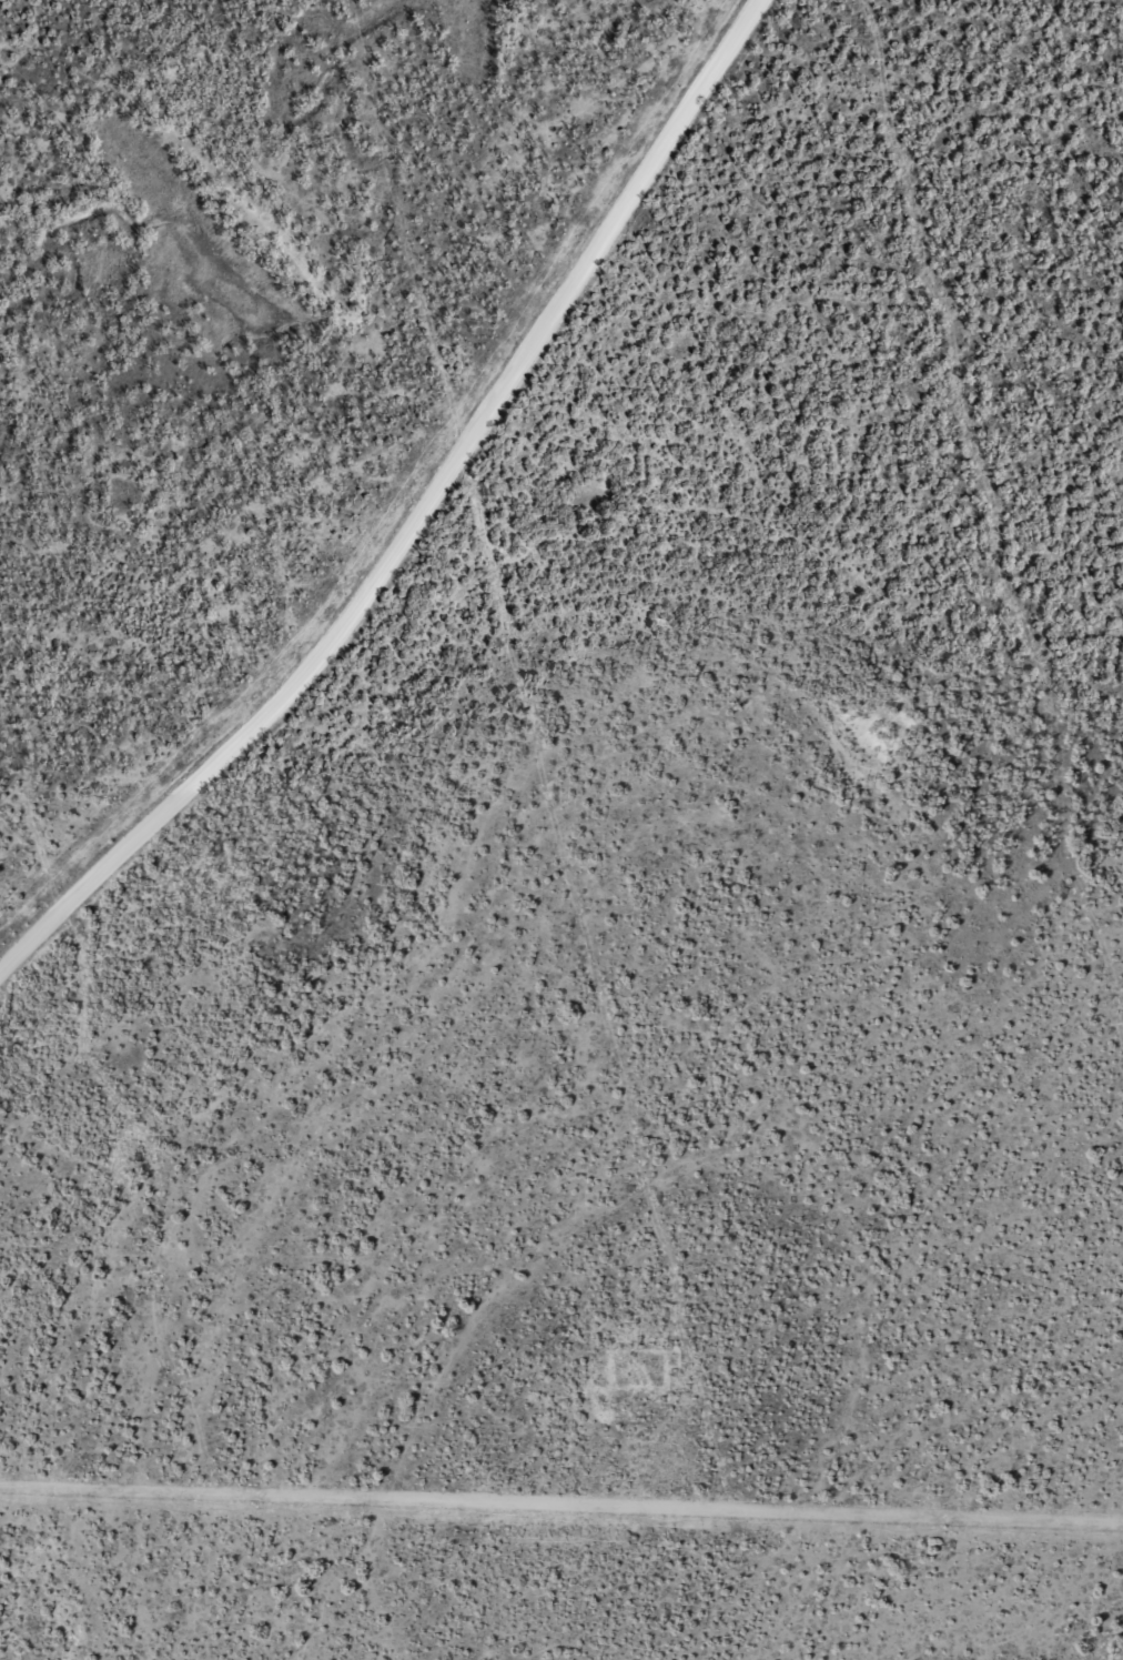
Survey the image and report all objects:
road: (432, 526)

